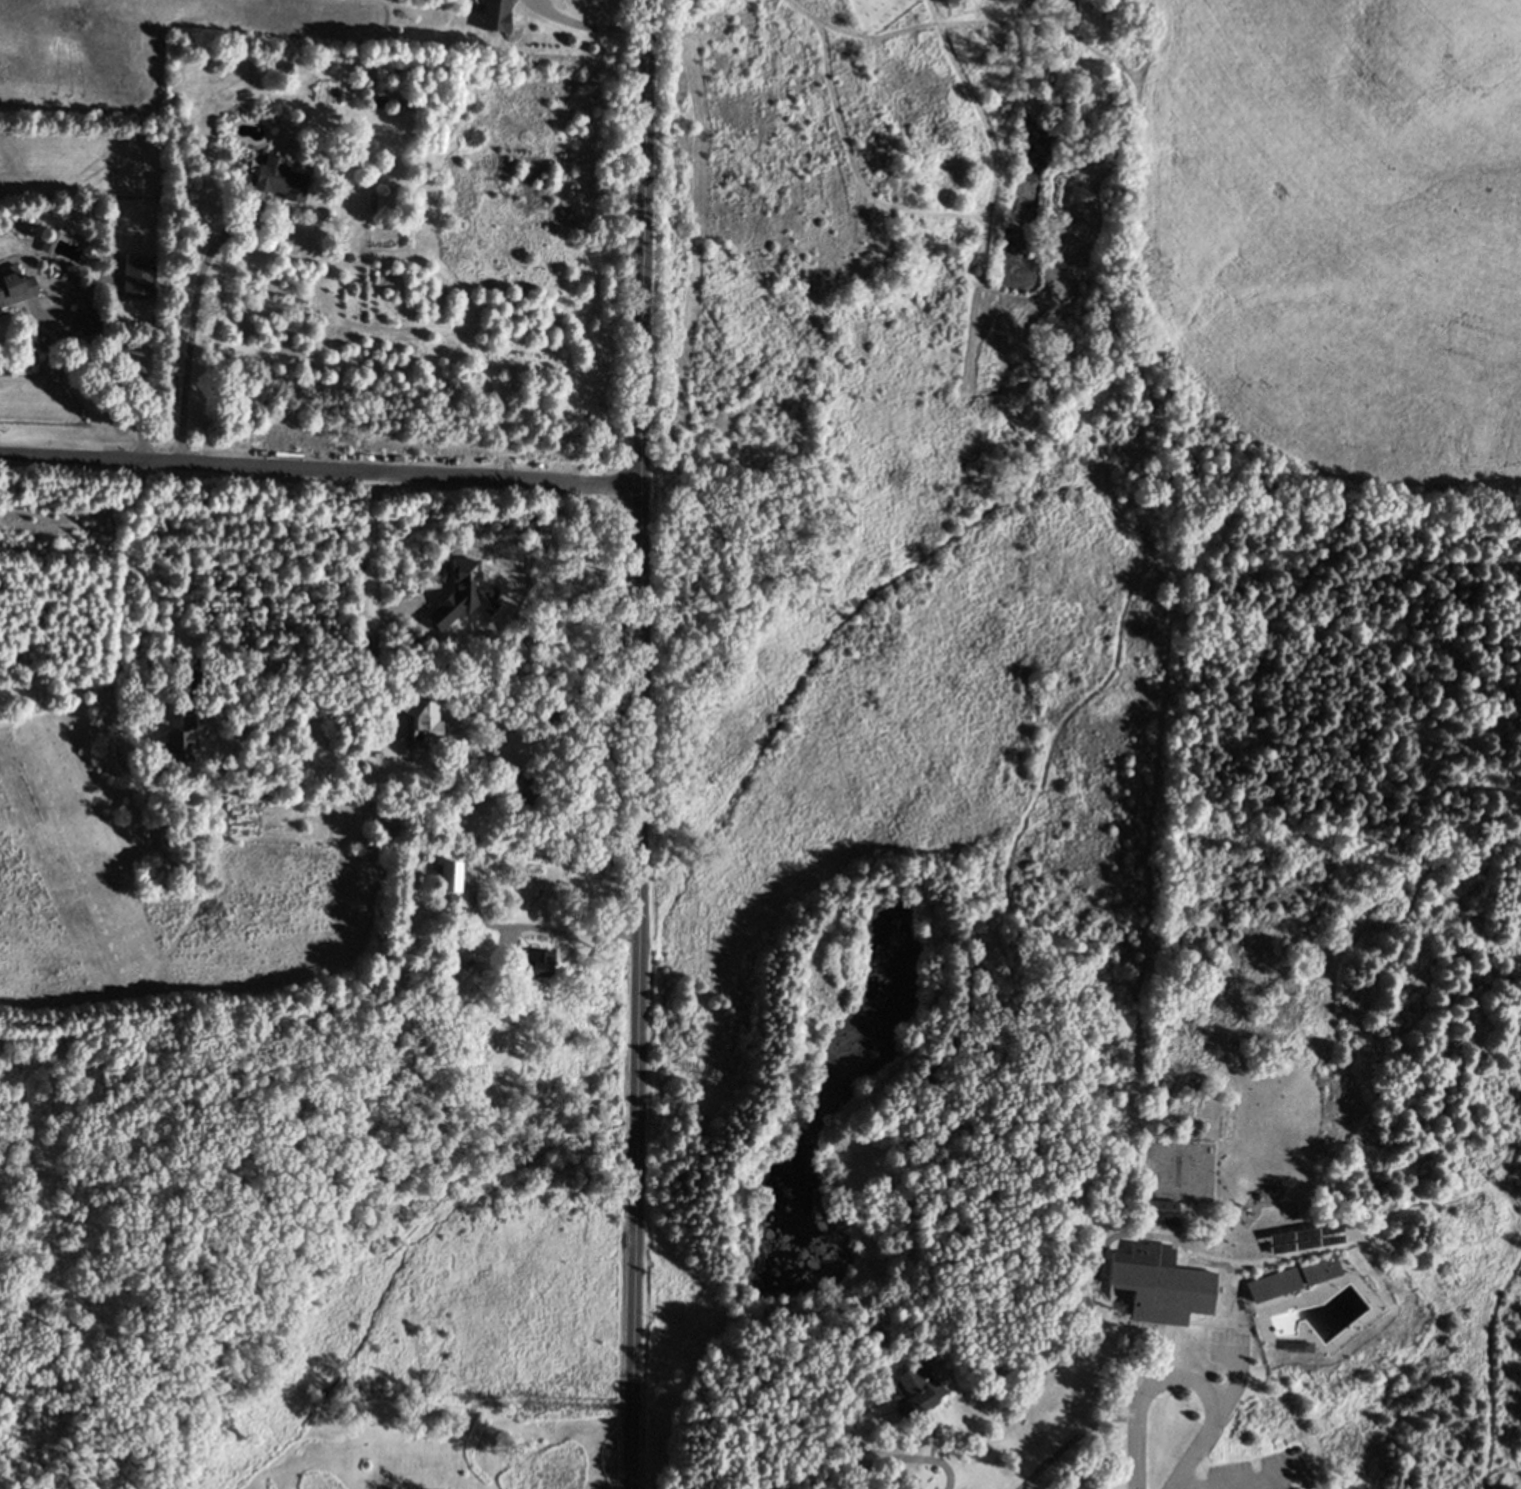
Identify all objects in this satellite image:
building: (495, 15)
road: (584, 29)
building: (279, 181)
building: (388, 203)
crop: (1316, 231)
building: (73, 279)
building: (138, 281)
building: (14, 287)
building: (90, 323)
road: (194, 326)
road: (100, 376)
road: (321, 469)
road: (144, 583)
road: (373, 600)
building: (420, 716)
building: (180, 739)
road: (642, 744)
building: (250, 791)
building: (520, 791)
building: (446, 877)
road: (553, 929)
building: (539, 960)
building: (466, 964)
building: (386, 1011)
building: (535, 1019)
building: (402, 1094)
building: (1161, 1210)
building: (1321, 1271)
building: (1161, 1285)
building: (1275, 1287)
parking lot: (1227, 1345)
road: (1182, 1378)
road: (1231, 1386)
building: (919, 1389)
parking lot: (1262, 1472)
road: (847, 1474)
road: (1232, 1484)

